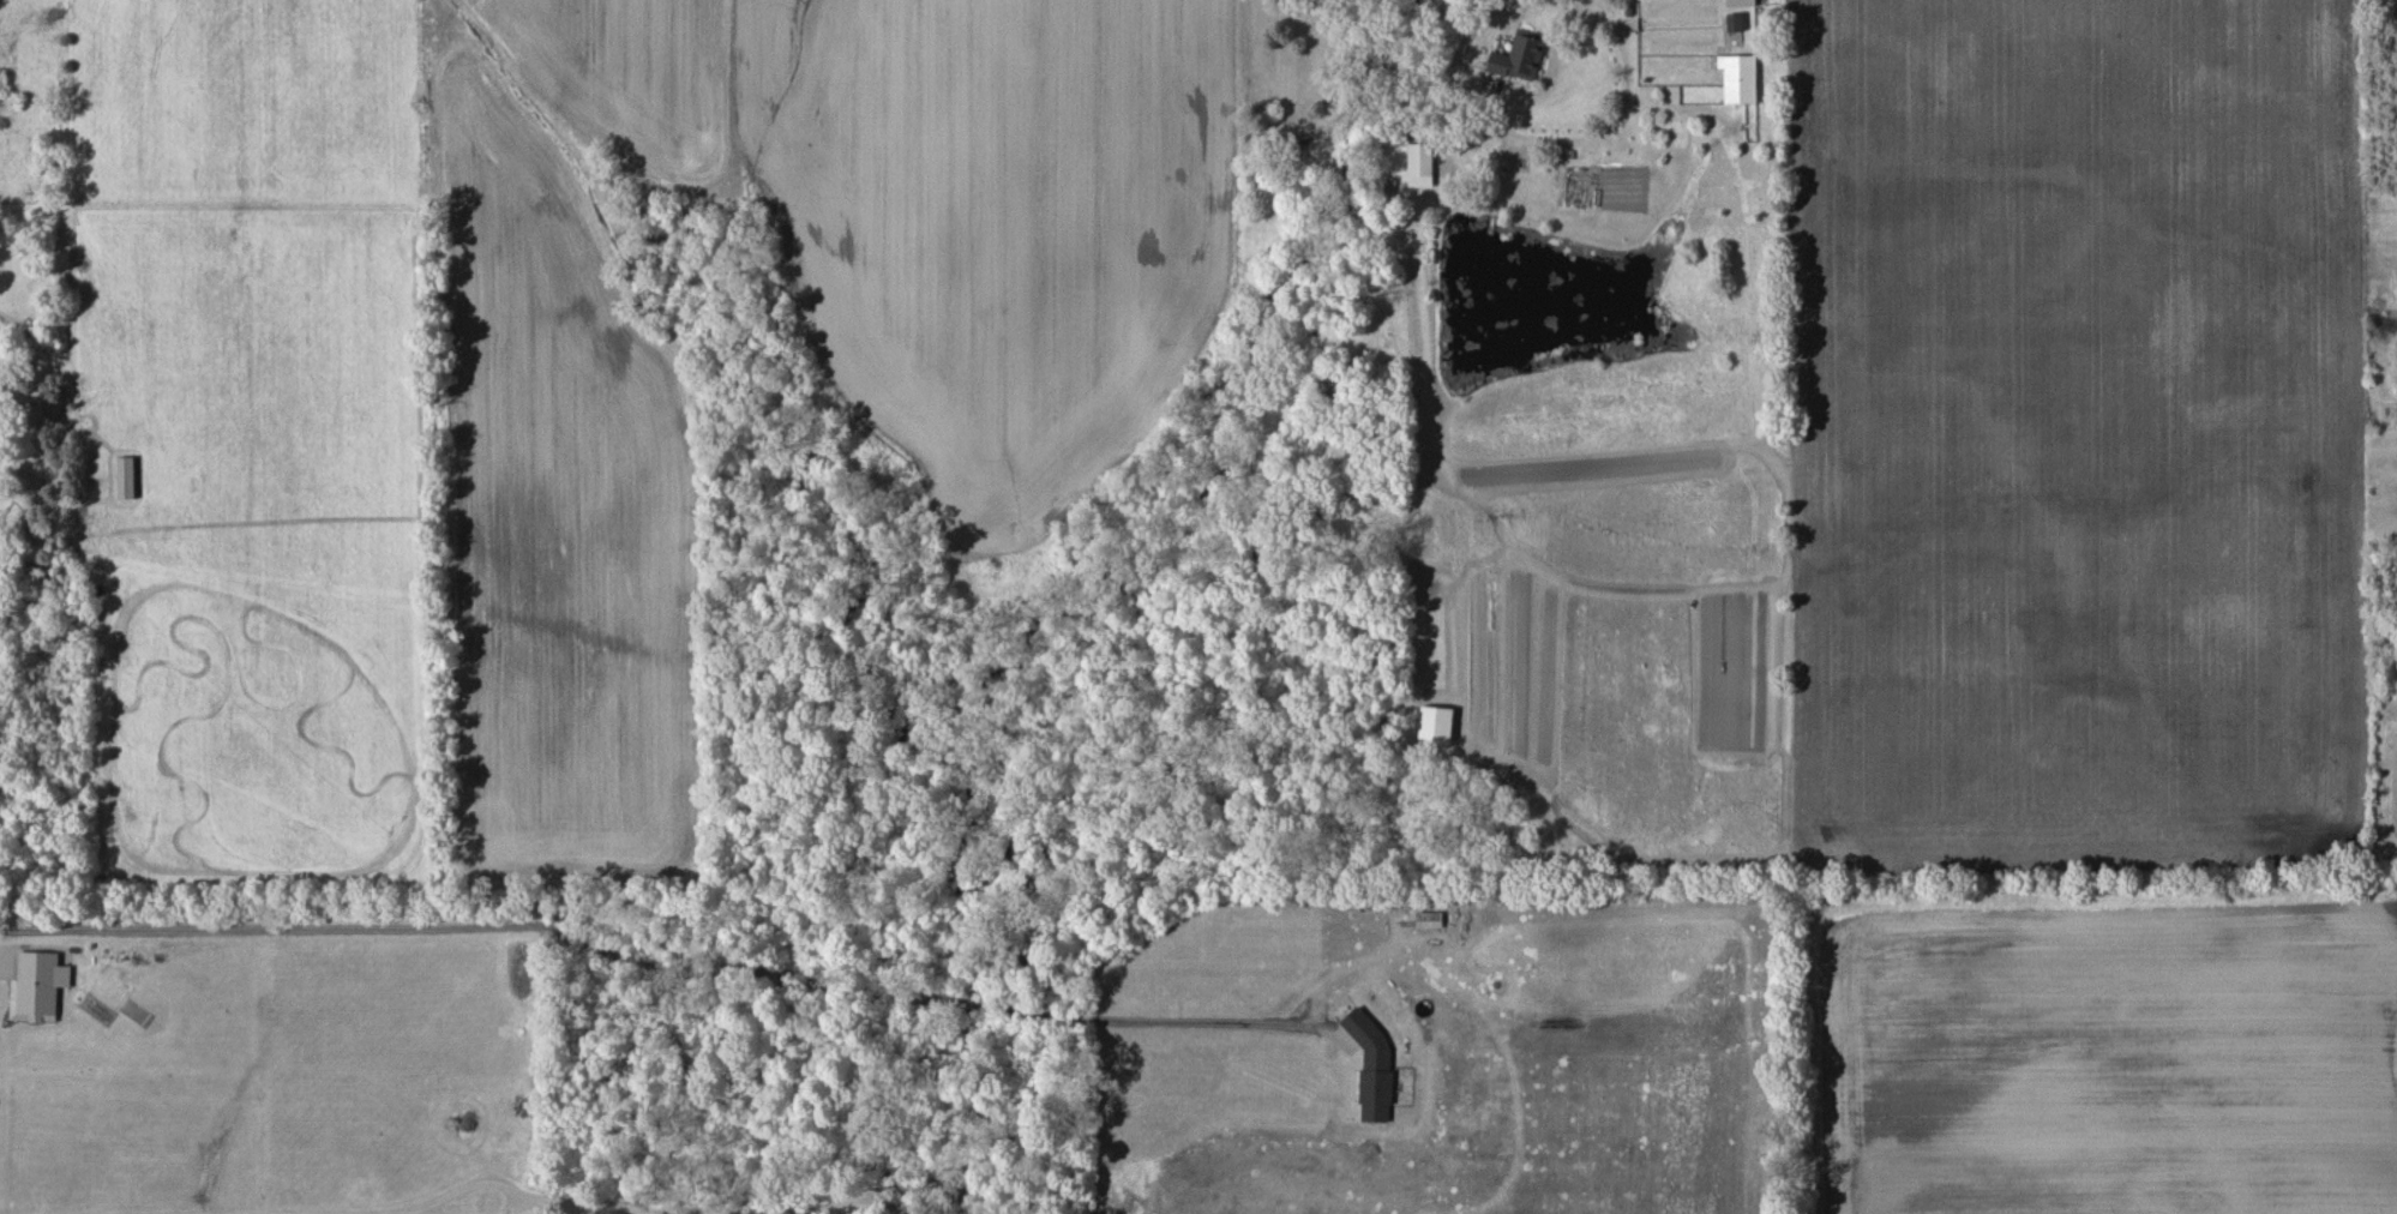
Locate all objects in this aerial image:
building: (1740, 2)
building: (1734, 22)
building: (1519, 56)
building: (1738, 78)
road: (1622, 102)
building: (1419, 164)
building: (125, 477)
building: (1435, 722)
road: (263, 931)
building: (36, 986)
park: (2093, 1042)
building: (1371, 1066)
road: (477, 1182)
road: (552, 1206)

